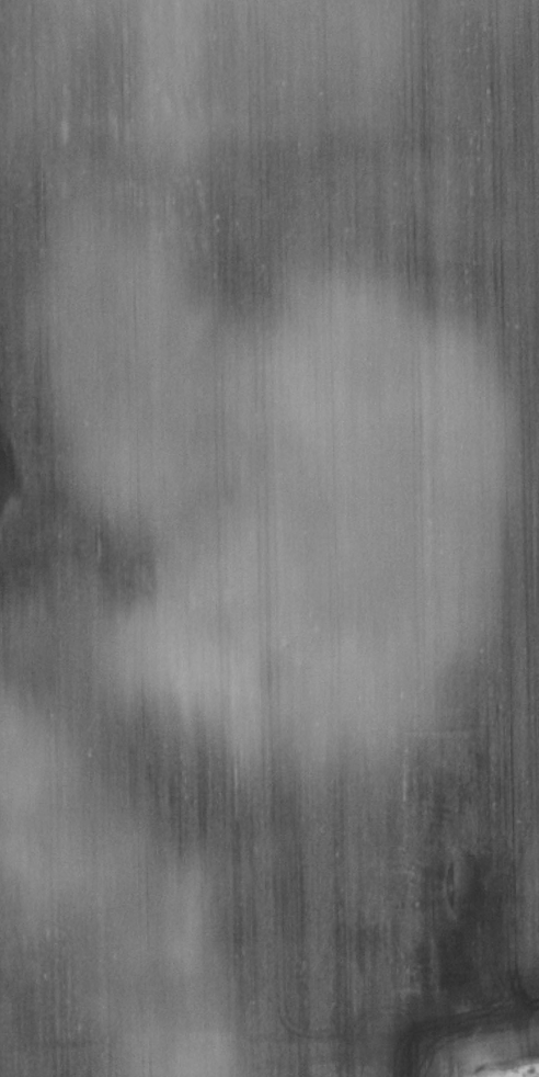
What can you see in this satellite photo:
crop: (268, 537)

